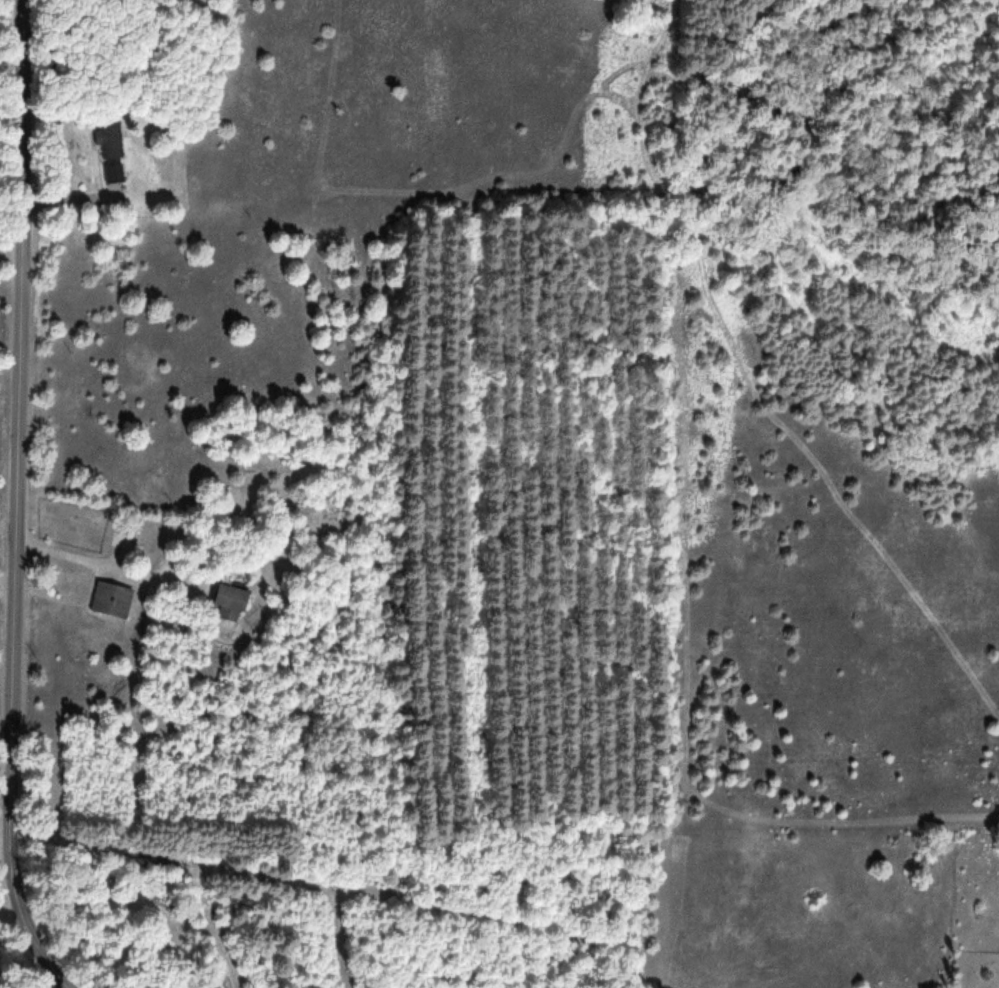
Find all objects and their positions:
building: (111, 149)
road: (17, 502)
building: (112, 599)
building: (231, 600)

